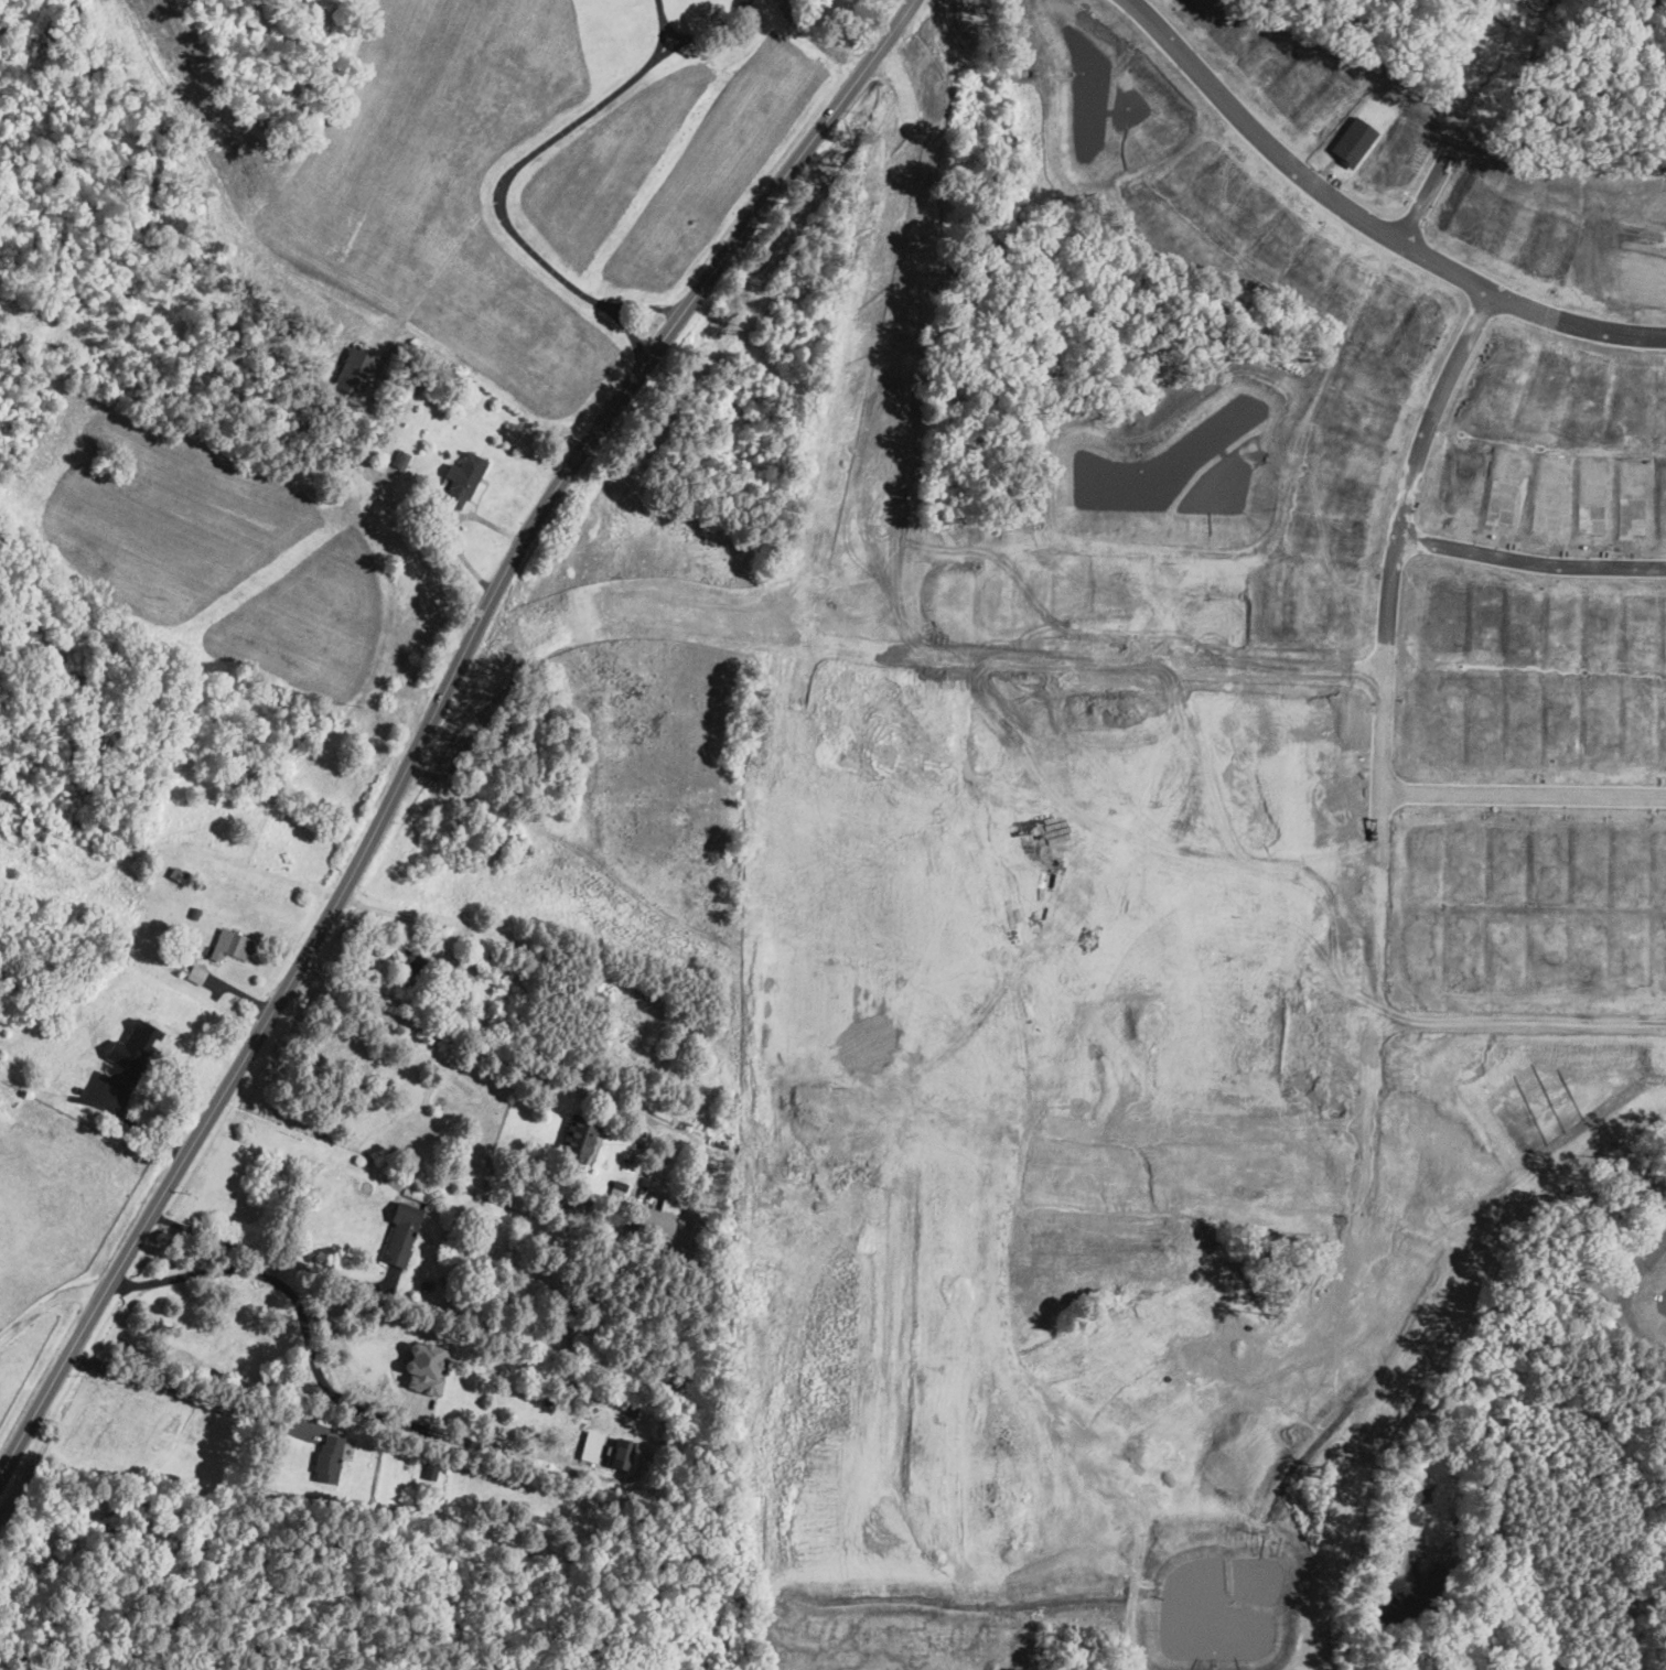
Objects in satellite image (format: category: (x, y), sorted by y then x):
road: (662, 29)
road: (675, 32)
road: (525, 160)
road: (1429, 197)
road: (1362, 220)
road: (689, 311)
building: (355, 371)
building: (401, 457)
building: (464, 478)
road: (1535, 553)
road: (1386, 645)
road: (498, 655)
building: (298, 735)
building: (533, 754)
road: (1518, 794)
building: (498, 833)
building: (180, 875)
building: (84, 879)
building: (201, 884)
building: (195, 912)
road: (405, 915)
building: (232, 945)
building: (486, 960)
building: (420, 967)
building: (196, 973)
building: (87, 1001)
building: (591, 1004)
road: (1515, 1015)
building: (15, 1038)
building: (136, 1046)
building: (1442, 1068)
building: (125, 1071)
building: (63, 1086)
building: (78, 1090)
road: (147, 1120)
building: (578, 1138)
building: (619, 1190)
building: (602, 1222)
building: (658, 1224)
building: (401, 1233)
road: (270, 1256)
building: (686, 1256)
road: (284, 1284)
building: (427, 1285)
road: (45, 1302)
building: (426, 1367)
road: (191, 1392)
building: (685, 1393)
building: (664, 1426)
building: (623, 1453)
building: (329, 1459)
building: (431, 1467)
building: (470, 1531)

